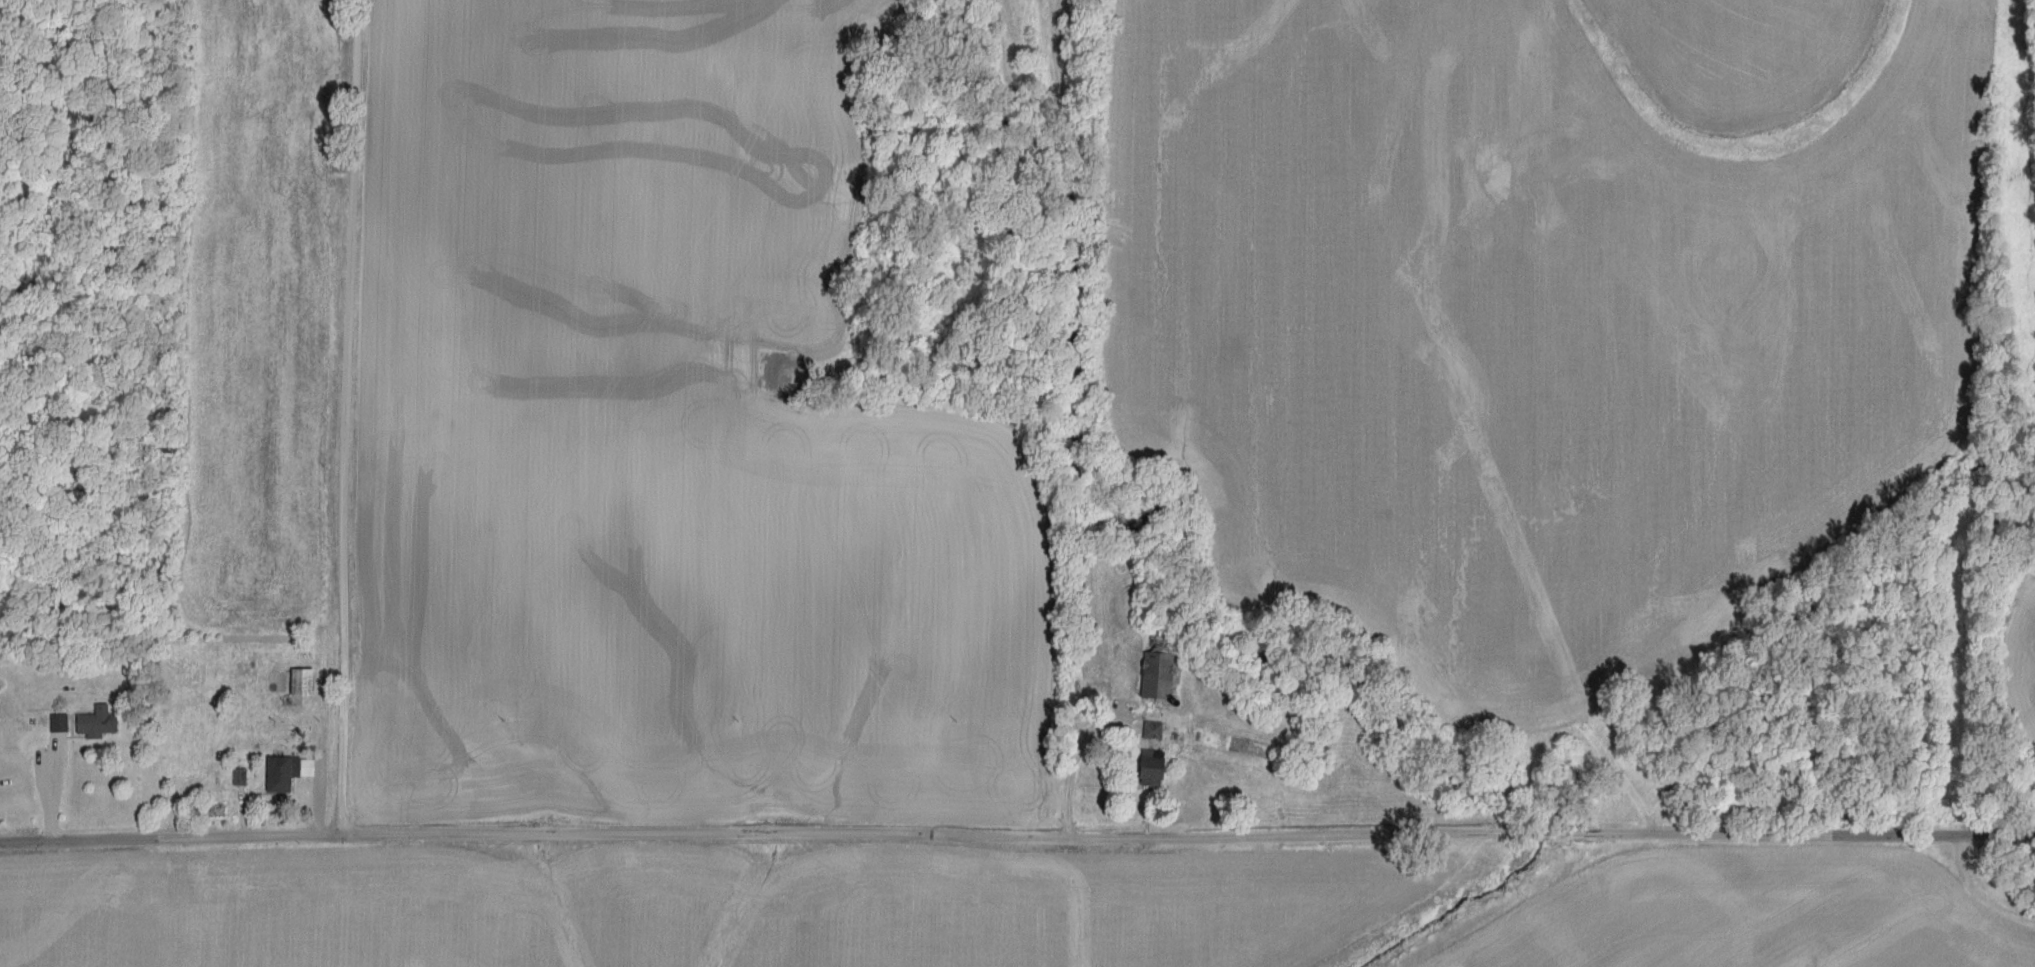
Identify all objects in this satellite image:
road: (313, 417)
building: (1157, 676)
building: (309, 682)
building: (101, 722)
building: (63, 723)
building: (1154, 730)
road: (1076, 768)
building: (1150, 768)
building: (291, 773)
road: (55, 789)
road: (1017, 837)

